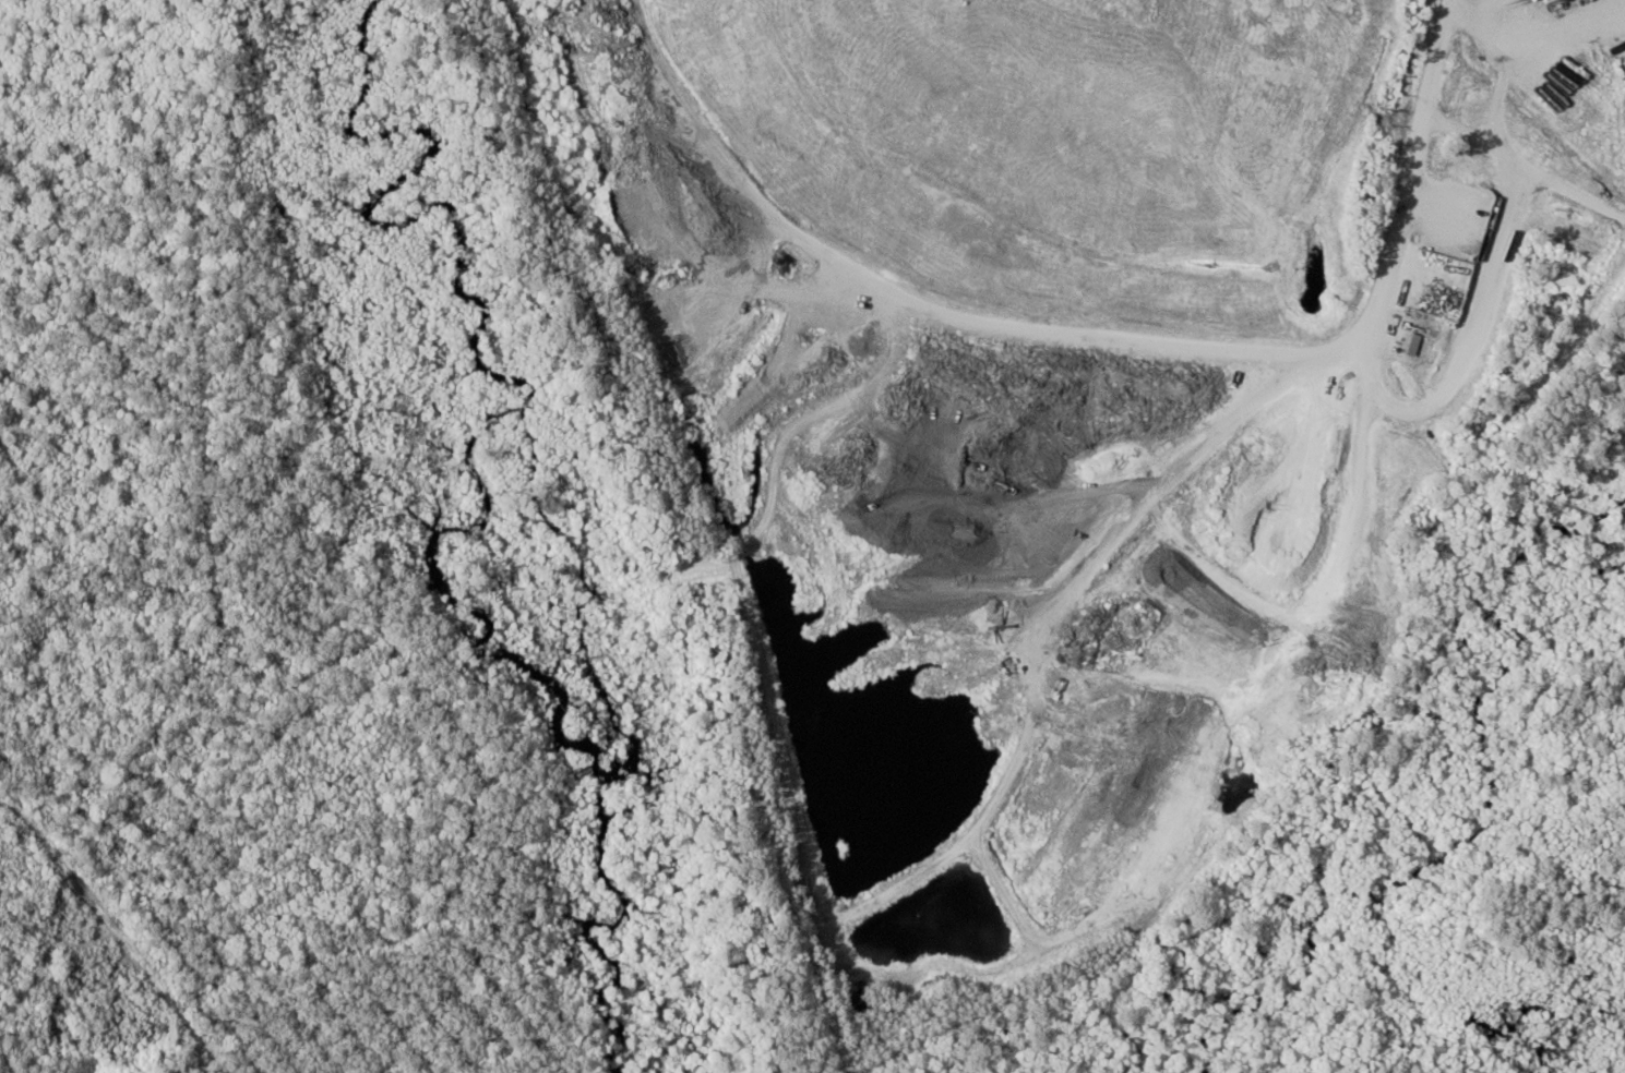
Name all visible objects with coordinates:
building: (1533, 1)
building: (1410, 345)

